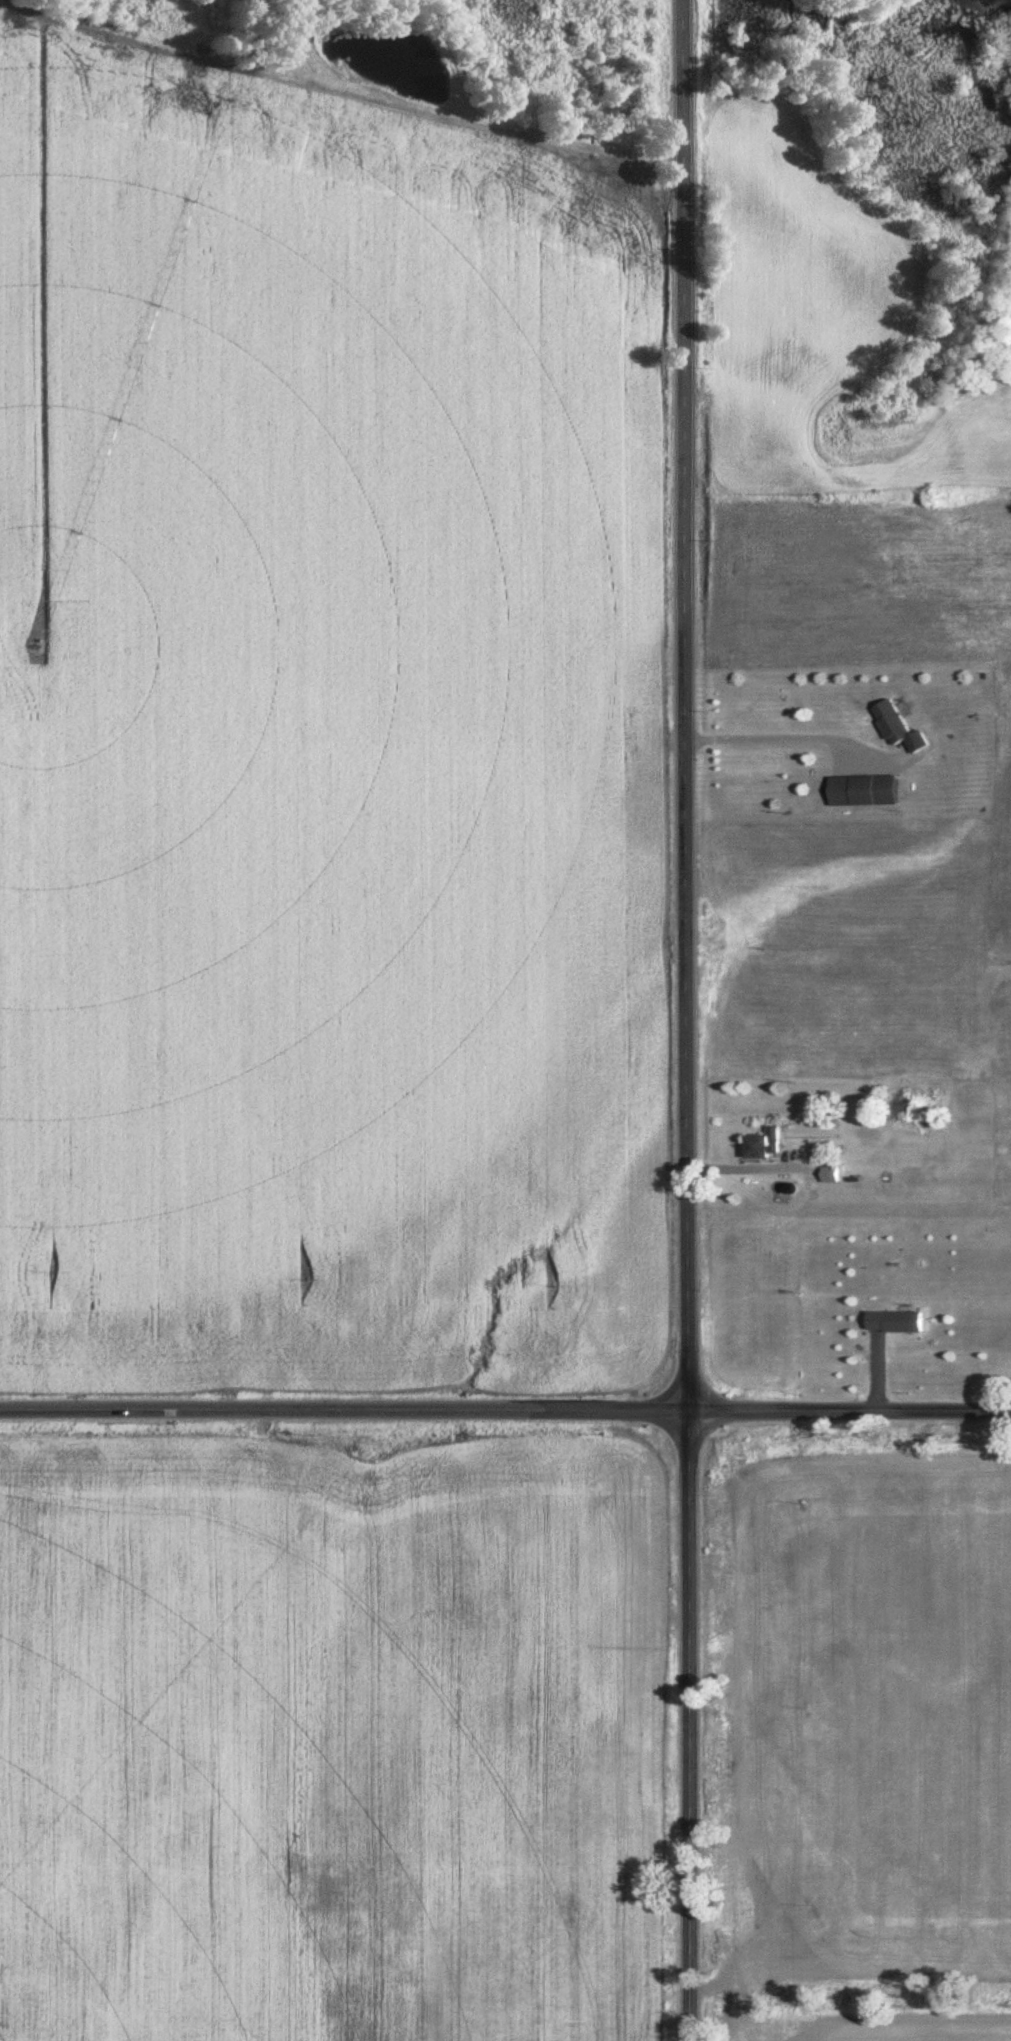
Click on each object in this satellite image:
road: (689, 708)
building: (888, 723)
building: (860, 791)
building: (889, 1108)
building: (759, 1147)
building: (891, 1322)
road: (852, 1415)
road: (346, 1416)
road: (693, 1729)

